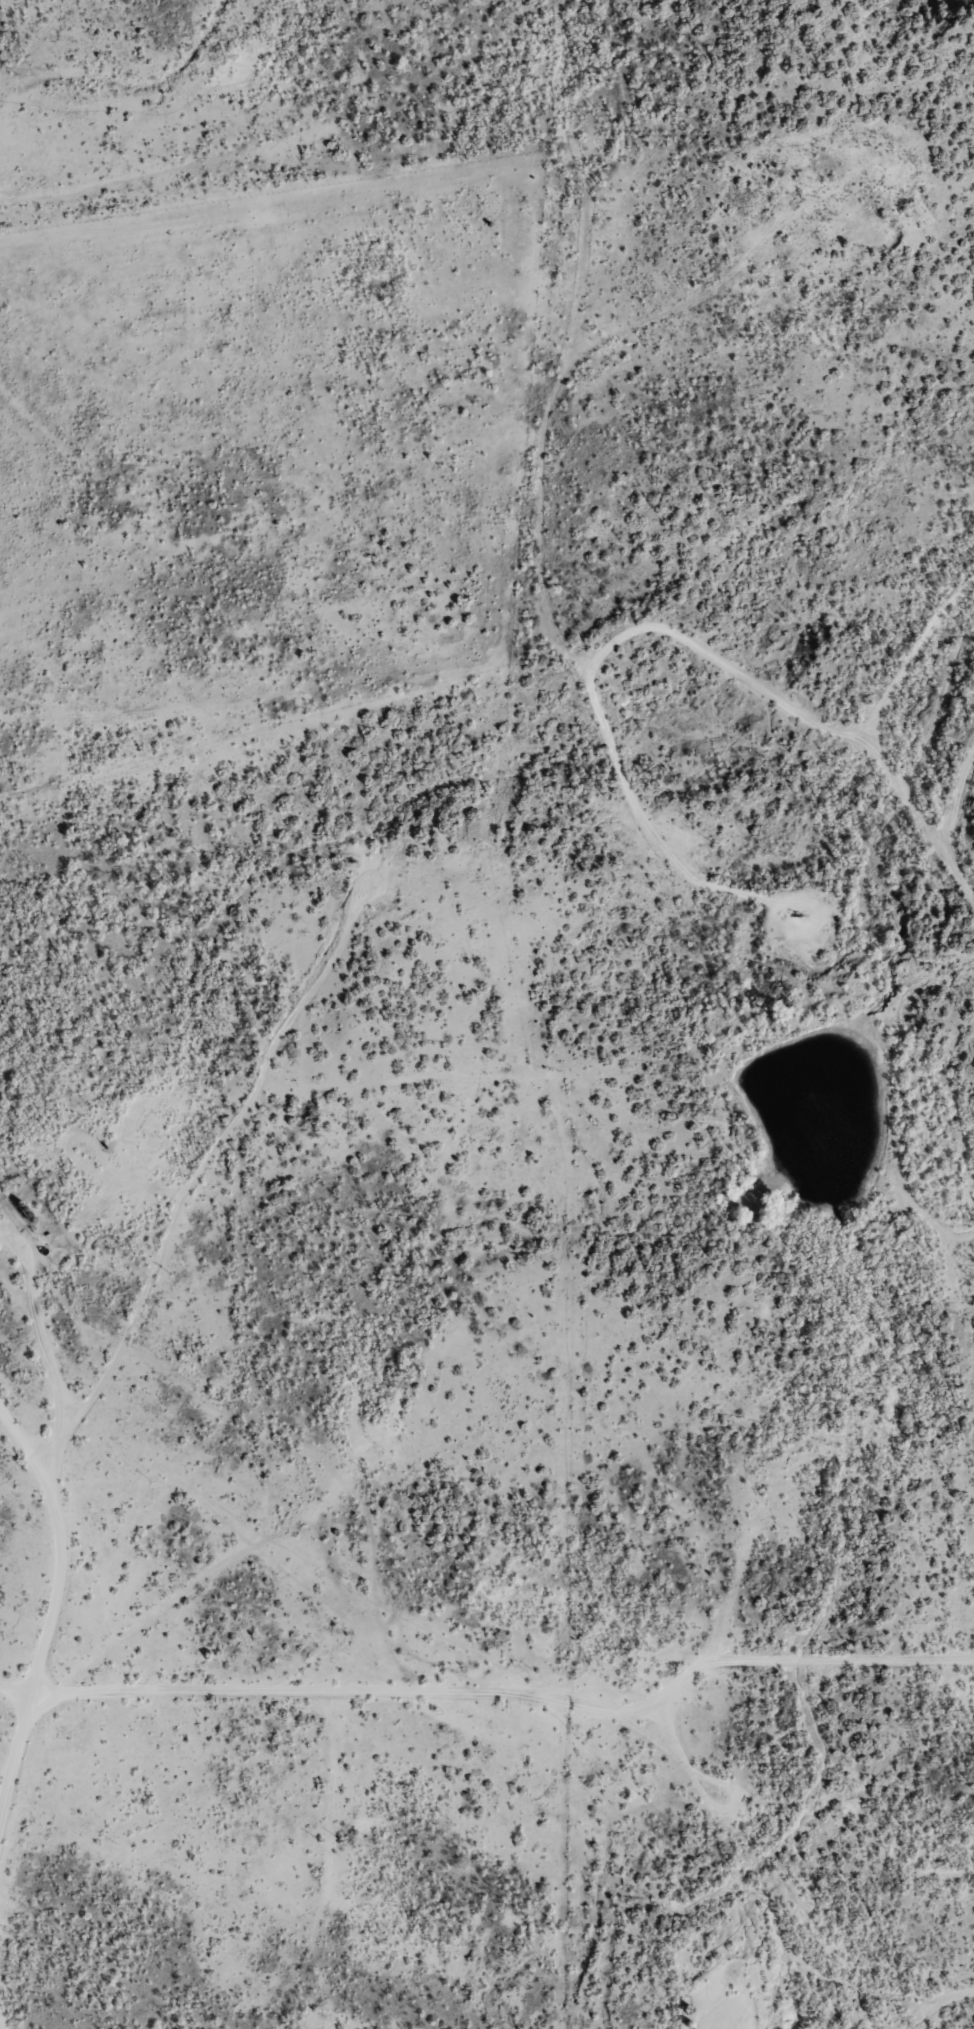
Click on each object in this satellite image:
road: (188, 169)
road: (546, 618)
road: (918, 704)
road: (799, 738)
building: (307, 1112)
road: (159, 1276)
road: (18, 1485)
road: (480, 1709)

